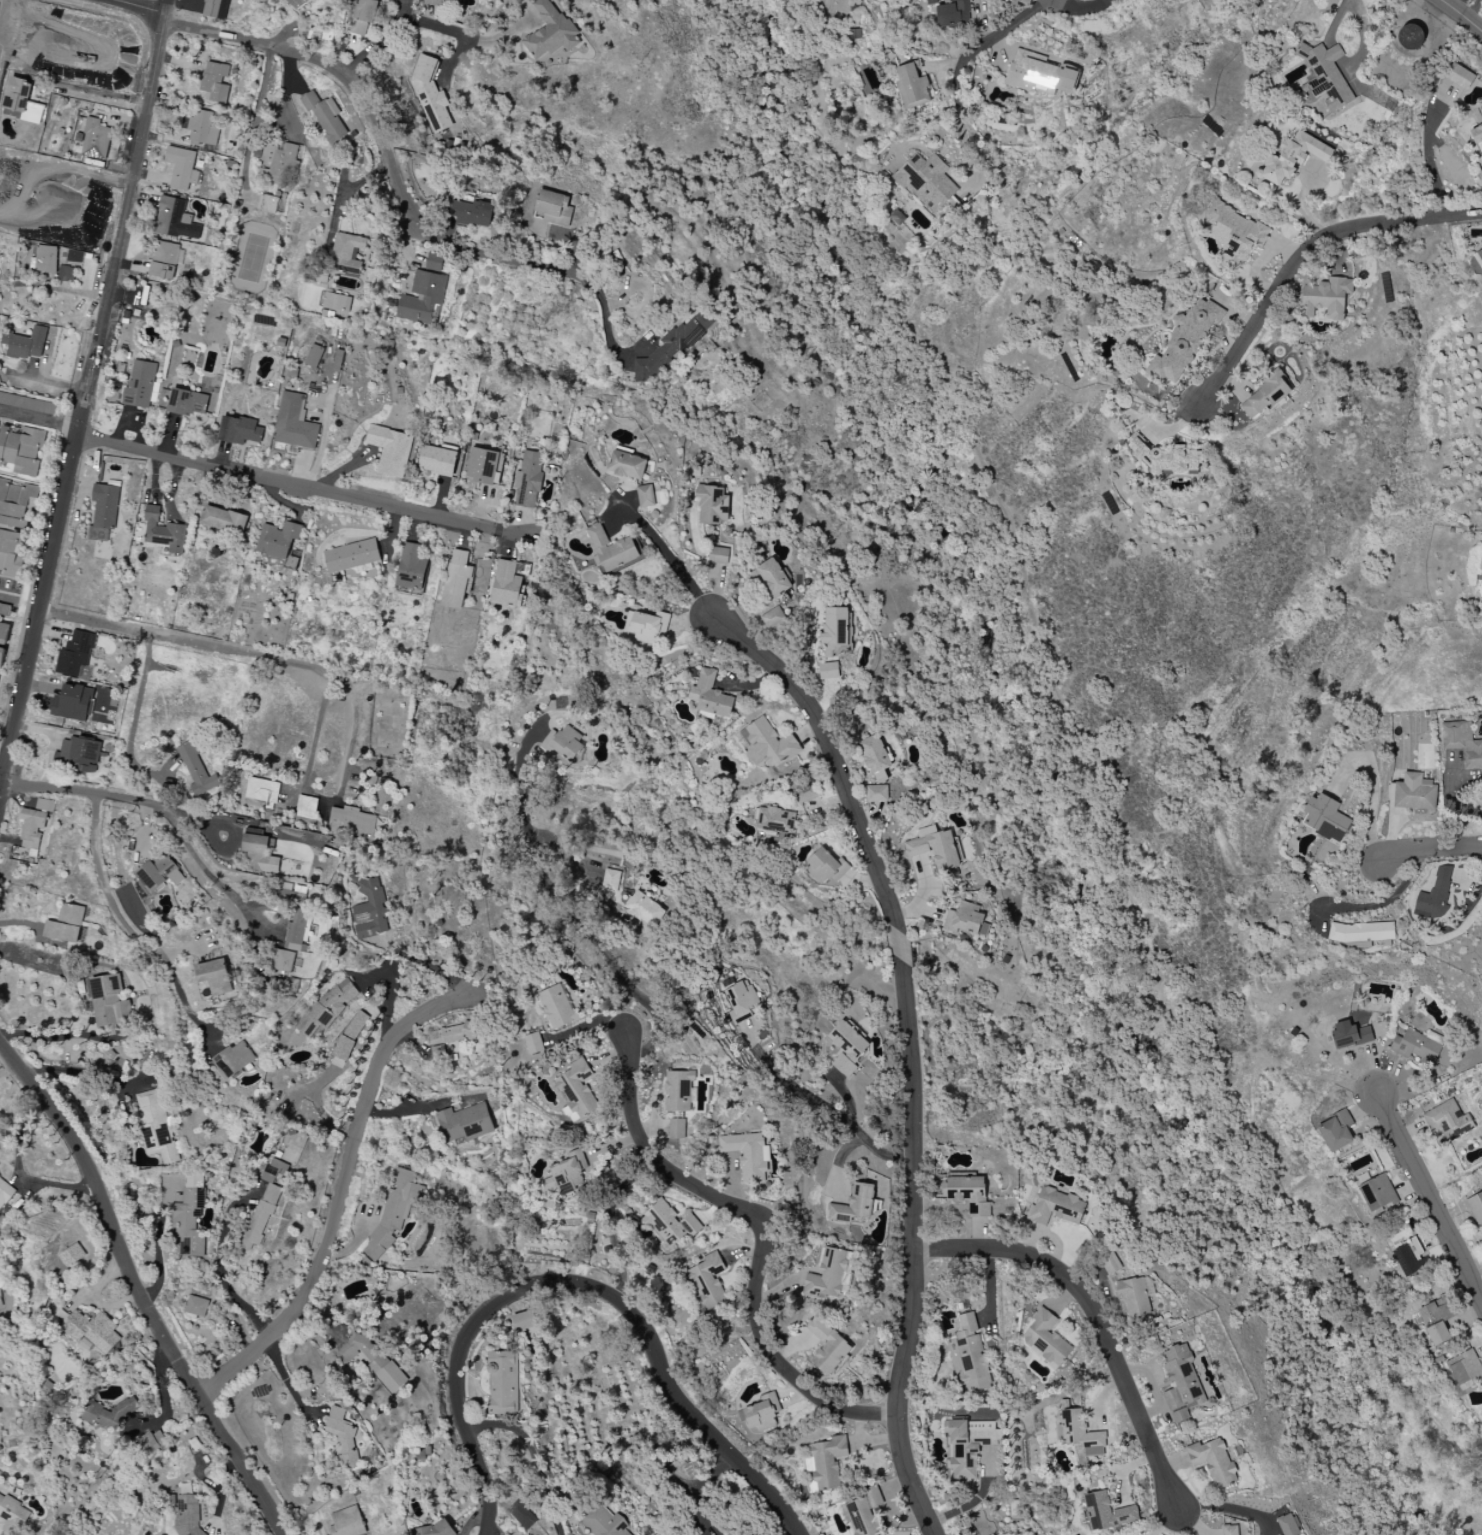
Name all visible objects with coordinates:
building: (434, 2)
building: (931, 2)
building: (295, 3)
road: (145, 5)
road: (1459, 6)
building: (215, 9)
building: (954, 13)
road: (1459, 15)
building: (363, 16)
building: (550, 31)
road: (469, 36)
road: (1360, 37)
building: (1410, 37)
road: (991, 41)
road: (382, 42)
building: (1039, 74)
building: (1324, 76)
building: (1459, 76)
building: (214, 83)
building: (912, 87)
building: (430, 95)
building: (21, 101)
building: (325, 116)
road: (255, 122)
building: (202, 128)
road: (380, 134)
building: (1476, 136)
building: (95, 140)
road: (1427, 157)
building: (1293, 158)
building: (277, 162)
building: (181, 168)
building: (926, 182)
building: (268, 204)
building: (553, 208)
building: (470, 213)
building: (175, 219)
building: (1235, 233)
road: (1305, 252)
building: (346, 253)
building: (1478, 256)
building: (44, 259)
building: (166, 260)
building: (434, 261)
building: (65, 273)
road: (54, 288)
building: (421, 298)
building: (1325, 299)
building: (333, 301)
road: (605, 306)
building: (1184, 342)
building: (25, 344)
building: (673, 346)
building: (314, 356)
building: (140, 384)
road: (87, 395)
building: (1264, 396)
building: (27, 404)
building: (187, 404)
building: (294, 423)
road: (39, 424)
building: (239, 431)
building: (21, 449)
building: (390, 450)
building: (1165, 458)
building: (437, 460)
building: (627, 464)
building: (482, 466)
building: (528, 480)
road: (301, 485)
building: (645, 498)
building: (712, 505)
building: (224, 520)
building: (163, 532)
building: (278, 539)
building: (612, 549)
building: (11, 553)
building: (718, 555)
building: (351, 556)
road: (672, 561)
building: (411, 568)
building: (772, 577)
building: (457, 579)
building: (507, 585)
road: (10, 594)
building: (4, 610)
building: (772, 617)
building: (648, 626)
building: (835, 631)
road: (184, 639)
building: (3, 640)
building: (75, 653)
building: (828, 670)
building: (84, 673)
building: (710, 695)
building: (73, 703)
road: (135, 712)
road: (317, 730)
road: (353, 731)
building: (563, 743)
building: (1462, 743)
building: (766, 744)
building: (874, 754)
building: (78, 755)
road: (1101, 761)
building: (197, 770)
park: (1032, 781)
road: (0, 791)
building: (262, 792)
road: (1376, 792)
road: (0, 793)
building: (805, 794)
road: (113, 795)
building: (306, 807)
building: (1327, 819)
building: (775, 820)
building: (351, 822)
building: (35, 825)
building: (935, 847)
road: (1428, 848)
building: (259, 853)
building: (826, 866)
building: (160, 873)
road: (213, 875)
building: (1434, 896)
road: (1388, 901)
building: (369, 908)
road: (566, 908)
building: (644, 908)
building: (965, 920)
building: (66, 924)
building: (297, 931)
road: (130, 932)
building: (1361, 932)
building: (283, 961)
road: (429, 966)
building: (215, 977)
building: (105, 999)
building: (556, 1007)
building: (325, 1010)
building: (349, 1035)
building: (1349, 1035)
road: (48, 1039)
building: (450, 1041)
building: (533, 1043)
building: (847, 1047)
building: (1416, 1047)
road: (909, 1051)
building: (233, 1060)
building: (578, 1087)
building: (678, 1091)
road: (836, 1117)
building: (1448, 1121)
building: (464, 1123)
building: (154, 1125)
building: (677, 1129)
building: (1336, 1131)
building: (747, 1155)
road: (18, 1172)
building: (568, 1173)
road: (336, 1192)
building: (967, 1194)
building: (1378, 1194)
road: (1430, 1196)
building: (265, 1202)
building: (854, 1204)
building: (1056, 1207)
building: (1475, 1208)
building: (393, 1212)
building: (190, 1217)
building: (669, 1224)
road: (767, 1236)
building: (71, 1255)
building: (1408, 1257)
building: (1110, 1263)
road: (166, 1268)
road: (223, 1273)
building: (828, 1275)
building: (708, 1282)
road: (581, 1287)
building: (0, 1292)
road: (138, 1293)
building: (1136, 1296)
building: (196, 1306)
road: (1096, 1318)
building: (524, 1321)
building: (1436, 1322)
building: (92, 1331)
building: (1045, 1338)
building: (827, 1346)
building: (971, 1355)
building: (370, 1360)
building: (1465, 1370)
road: (286, 1380)
building: (503, 1382)
building: (1181, 1383)
road: (162, 1395)
building: (763, 1413)
building: (108, 1416)
building: (1079, 1433)
building: (344, 1436)
building: (150, 1444)
road: (532, 1454)
building: (1213, 1461)
building: (826, 1462)
road: (708, 1491)
building: (870, 1499)
road: (1227, 1507)
building: (1107, 1512)
building: (12, 1515)
building: (521, 1515)
building: (860, 1517)
building: (603, 1520)
building: (347, 1522)
building: (1287, 1525)
building: (434, 1529)
building: (1230, 1530)

